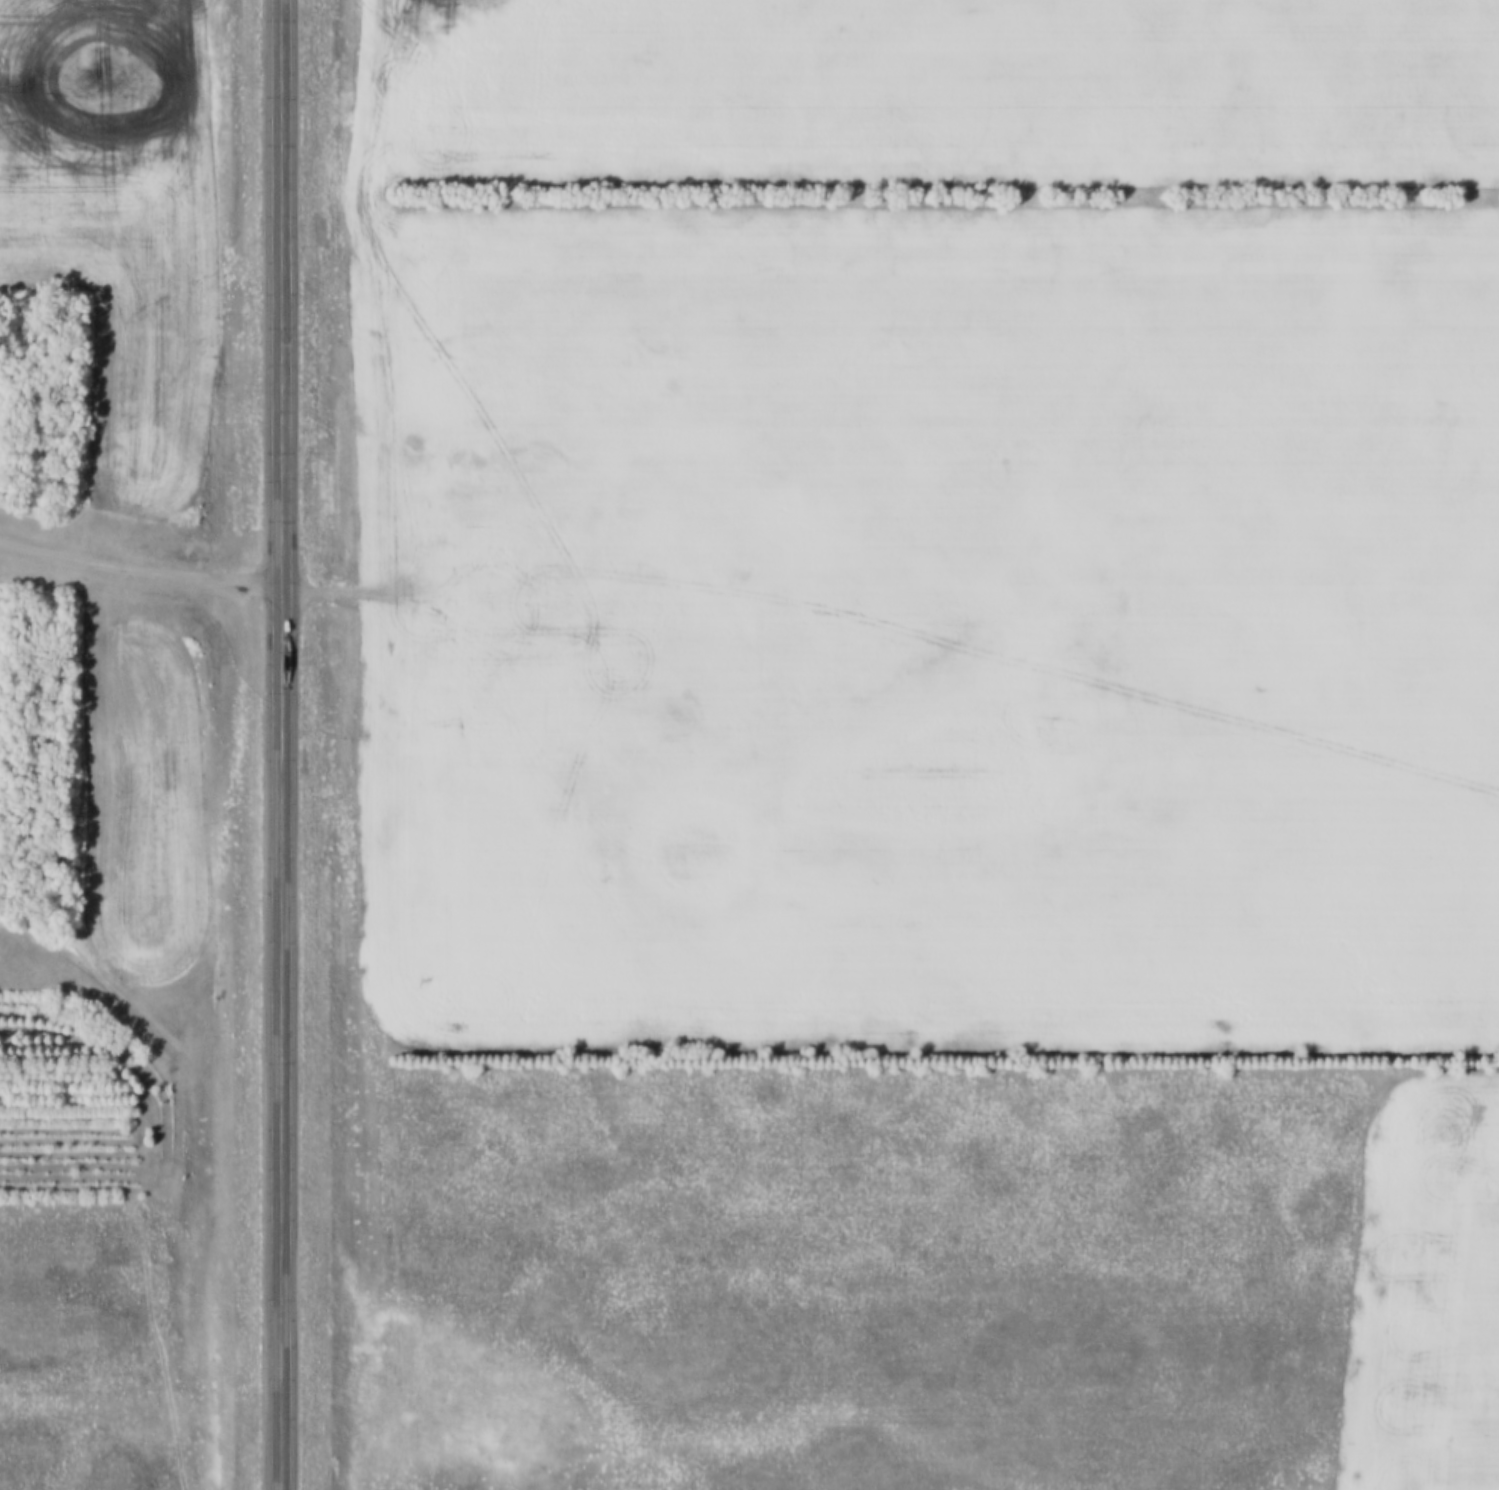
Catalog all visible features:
road: (139, 565)
road: (279, 745)

